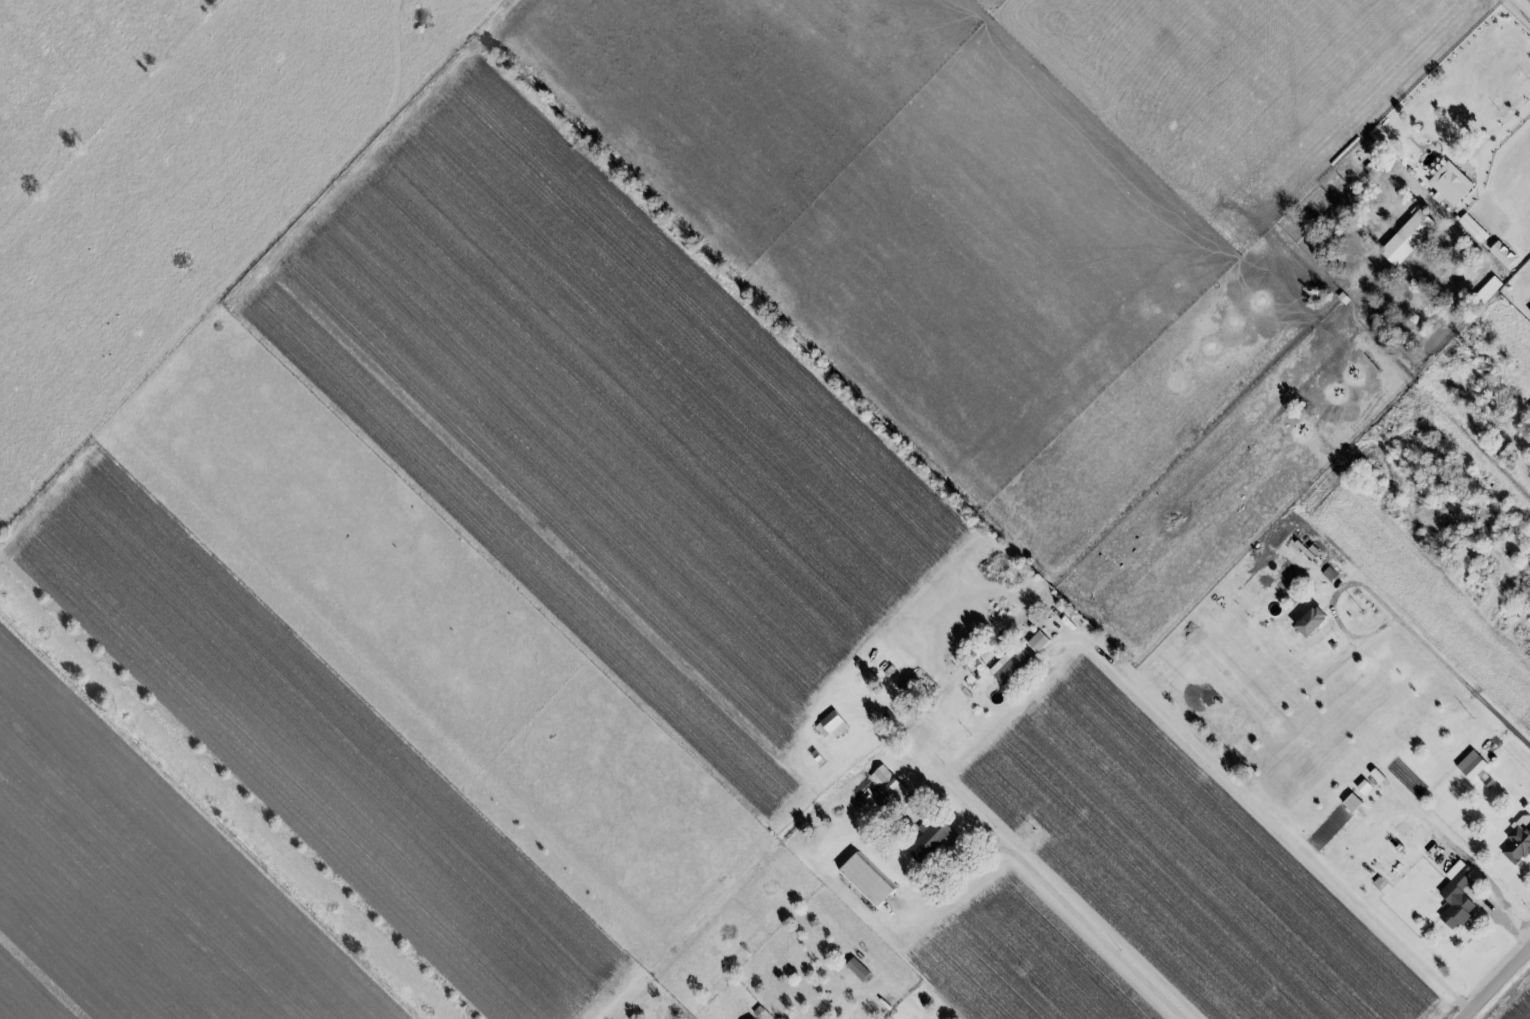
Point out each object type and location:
road: (1501, 129)
building: (1452, 184)
building: (1475, 228)
building: (1410, 236)
building: (1505, 253)
building: (1330, 573)
road: (1329, 609)
building: (1315, 620)
building: (1040, 641)
building: (1012, 665)
road: (1462, 683)
building: (831, 724)
building: (1473, 765)
building: (888, 781)
building: (1365, 786)
building: (1354, 802)
road: (1274, 822)
building: (935, 839)
building: (1519, 841)
building: (868, 881)
building: (1458, 897)
road: (1089, 932)
building: (859, 968)
road: (1496, 983)
building: (755, 1018)

